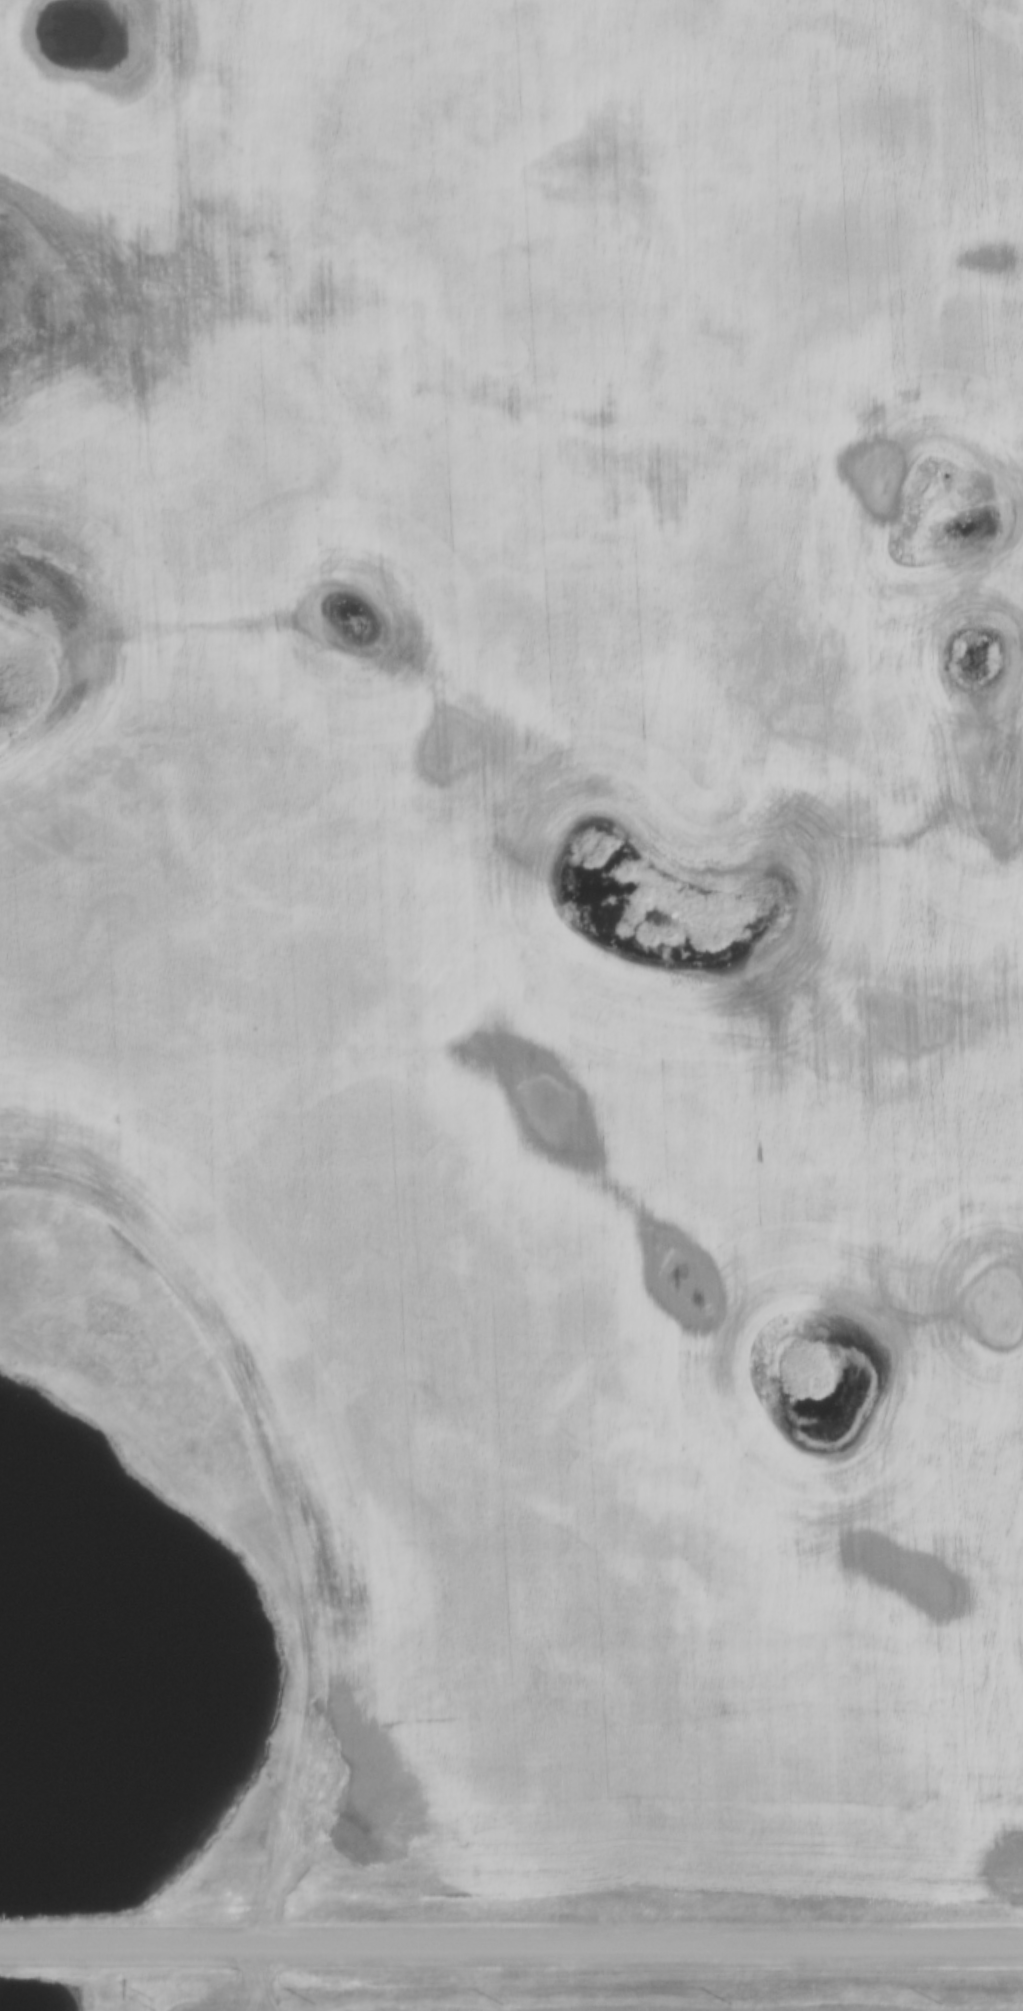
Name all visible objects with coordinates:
road: (511, 1945)

